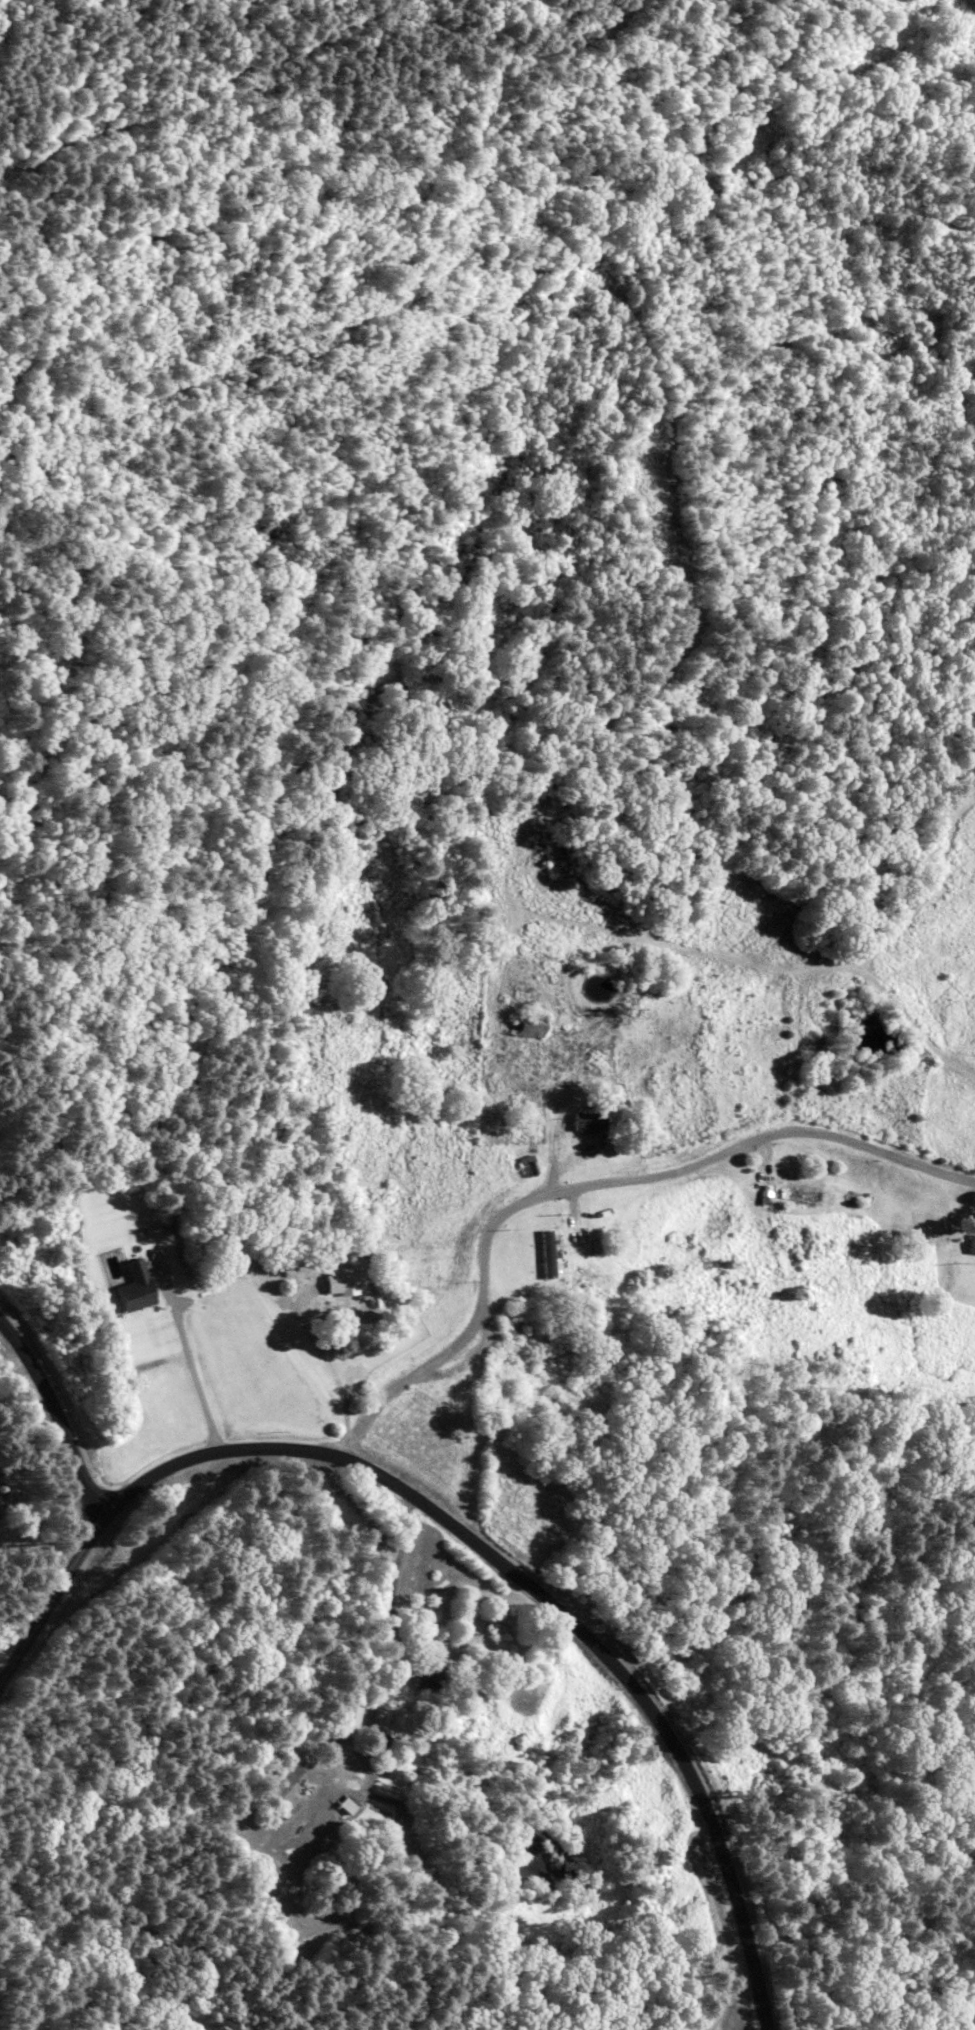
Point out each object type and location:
building: (524, 1026)
building: (585, 1122)
road: (597, 1187)
building: (797, 1192)
building: (969, 1245)
building: (545, 1254)
building: (340, 1283)
building: (130, 1288)
building: (518, 1327)
road: (49, 1400)
road: (394, 1575)
road: (53, 1583)
road: (542, 1596)
building: (424, 1675)
building: (348, 1715)
building: (282, 1786)
road: (728, 1992)

